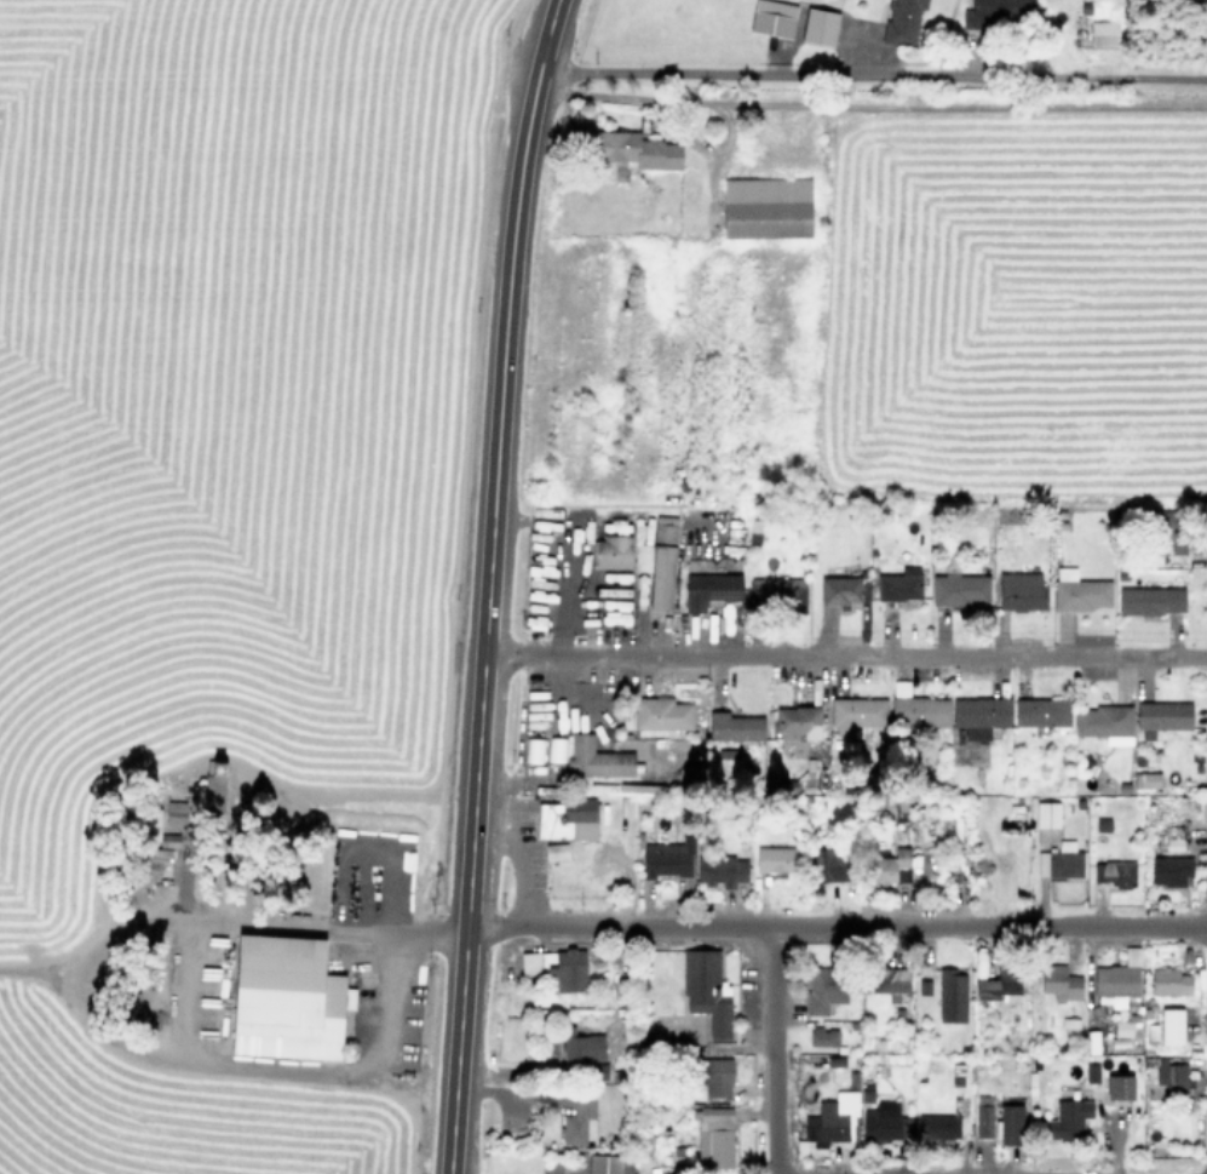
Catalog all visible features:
building: (998, 12)
building: (772, 18)
building: (902, 21)
building: (818, 27)
building: (1103, 33)
road: (872, 74)
road: (869, 107)
building: (766, 207)
crop: (920, 265)
building: (611, 551)
building: (642, 556)
building: (662, 561)
crop: (194, 567)
road: (487, 584)
building: (899, 584)
building: (711, 589)
building: (960, 589)
building: (839, 590)
building: (1021, 591)
building: (1079, 591)
building: (776, 592)
building: (1150, 600)
road: (845, 655)
building: (919, 711)
building: (1041, 711)
building: (856, 712)
building: (660, 715)
building: (979, 715)
building: (1161, 716)
building: (798, 720)
building: (1105, 722)
building: (734, 726)
building: (596, 757)
building: (1145, 779)
building: (213, 784)
building: (1079, 803)
building: (627, 806)
building: (1046, 814)
building: (568, 821)
building: (1102, 824)
building: (146, 825)
building: (1171, 838)
building: (667, 857)
building: (776, 858)
building: (1059, 859)
building: (833, 863)
building: (890, 866)
building: (719, 869)
building: (1169, 870)
building: (1115, 872)
road: (835, 924)
road: (344, 926)
building: (557, 967)
building: (1117, 978)
building: (889, 980)
building: (1059, 981)
building: (1168, 981)
building: (924, 986)
building: (823, 989)
building: (1000, 989)
building: (706, 990)
building: (286, 998)
building: (1171, 1026)
building: (1070, 1027)
building: (1122, 1027)
building: (1151, 1032)
building: (823, 1036)
building: (581, 1044)
road: (772, 1049)
road: (259, 1070)
building: (1091, 1072)
building: (714, 1076)
building: (1119, 1086)
building: (983, 1116)
building: (579, 1118)
building: (1068, 1119)
building: (1010, 1124)
building: (885, 1127)
building: (937, 1127)
building: (714, 1136)
building: (603, 1164)

